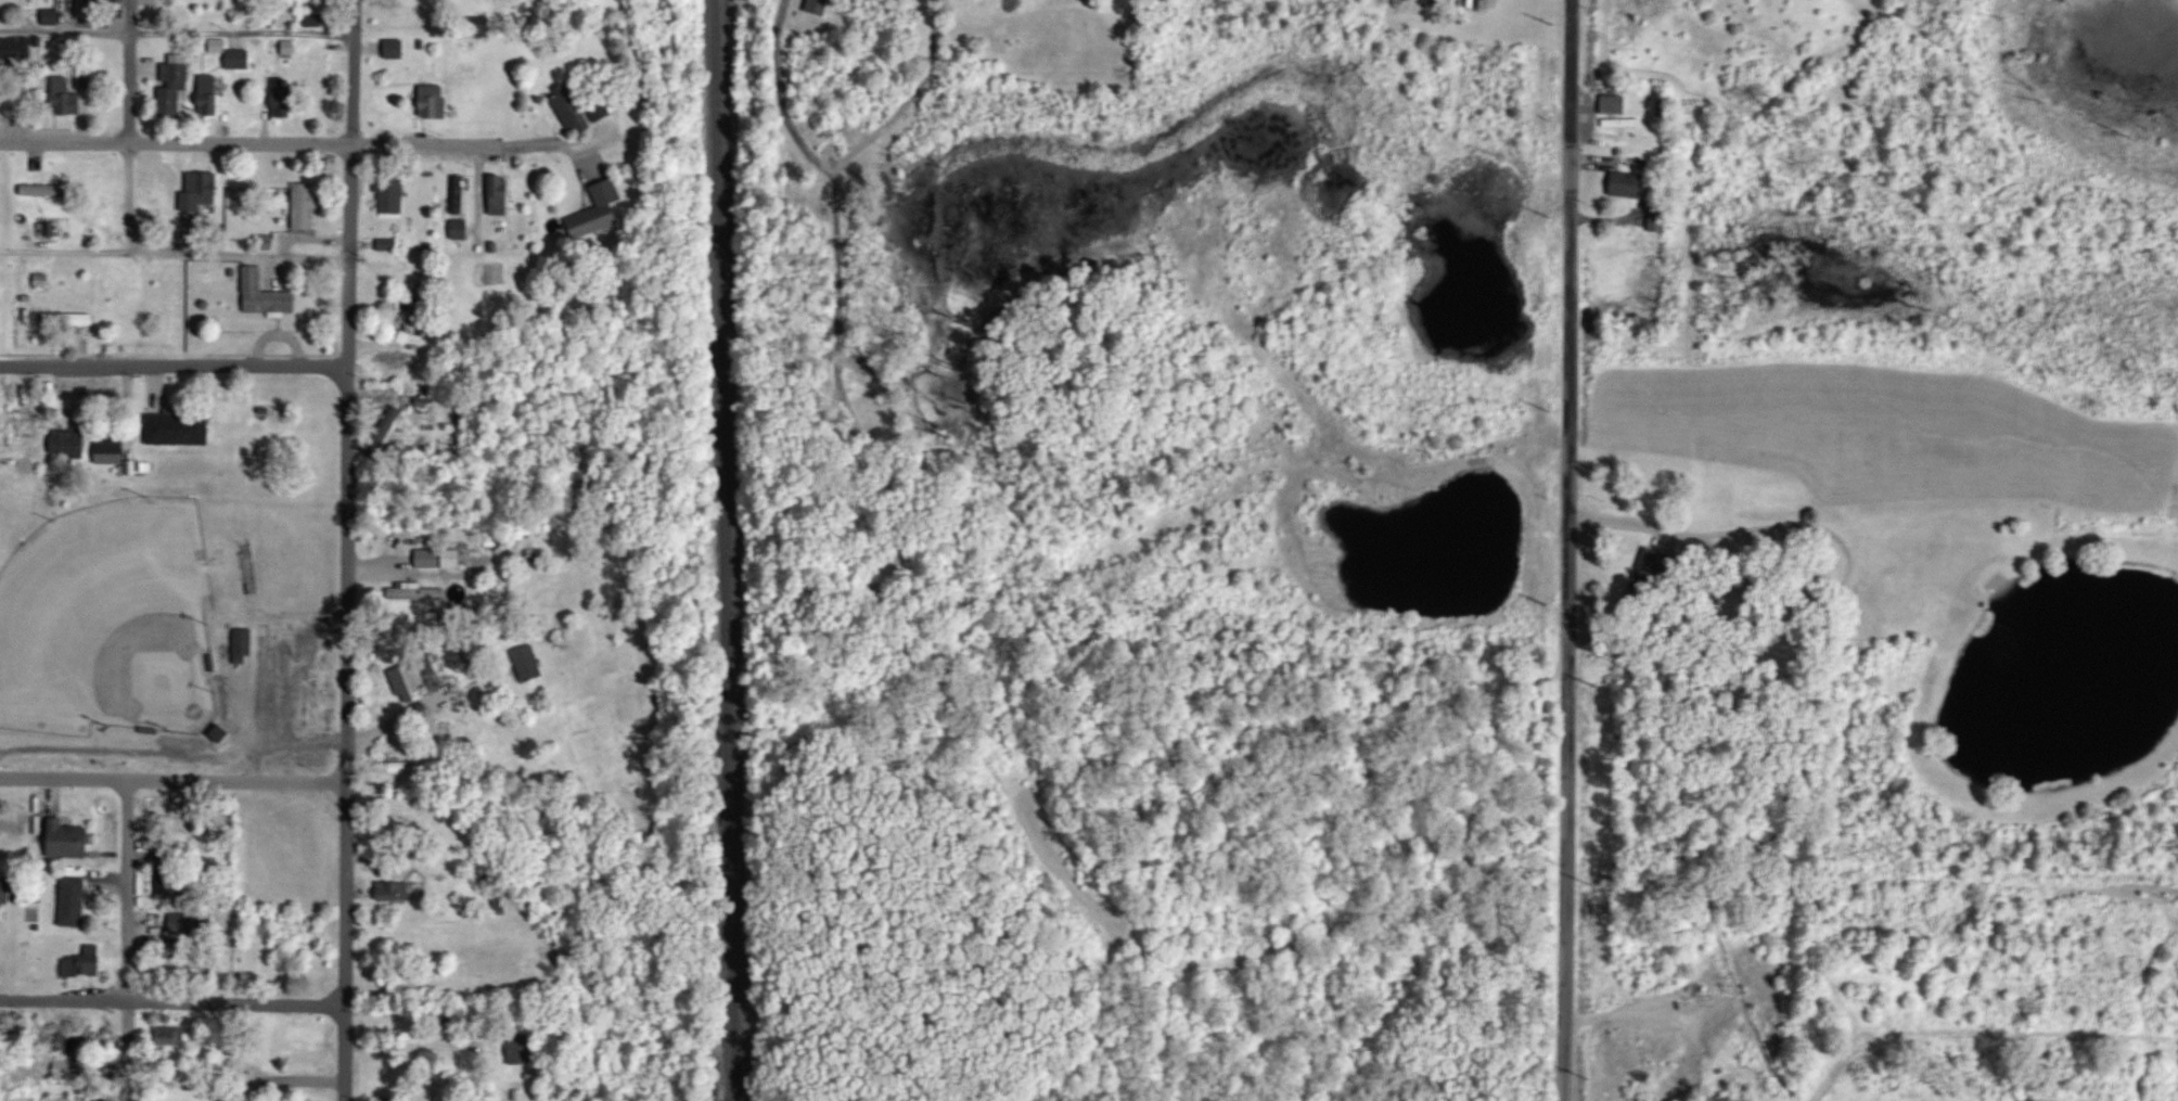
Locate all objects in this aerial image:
building: (99, 0)
building: (289, 16)
road: (176, 28)
building: (289, 48)
building: (396, 48)
building: (241, 57)
road: (130, 69)
road: (353, 71)
building: (209, 90)
building: (38, 91)
building: (67, 92)
building: (283, 95)
building: (435, 101)
building: (1614, 104)
building: (572, 110)
building: (601, 111)
road: (249, 140)
road: (556, 140)
building: (1630, 184)
building: (38, 188)
building: (203, 192)
building: (392, 194)
road: (127, 195)
building: (500, 202)
building: (307, 204)
building: (1660, 219)
building: (595, 221)
building: (460, 229)
building: (388, 244)
road: (176, 253)
building: (41, 280)
building: (267, 295)
building: (69, 319)
building: (414, 321)
road: (174, 366)
building: (22, 425)
building: (176, 426)
building: (68, 444)
building: (111, 449)
road: (1747, 529)
railway: (729, 550)
road: (1565, 550)
building: (440, 558)
building: (417, 591)
road: (347, 620)
building: (243, 645)
building: (527, 663)
building: (408, 680)
road: (274, 683)
road: (174, 751)
building: (400, 766)
road: (174, 781)
building: (69, 838)
building: (395, 889)
building: (3, 891)
building: (74, 900)
road: (125, 940)
building: (86, 961)
building: (180, 962)
road: (174, 1001)
building: (305, 1034)
building: (171, 1035)
road: (414, 1042)
building: (520, 1049)
road: (296, 1078)
building: (392, 1079)
building: (1738, 1098)
building: (318, 1099)

